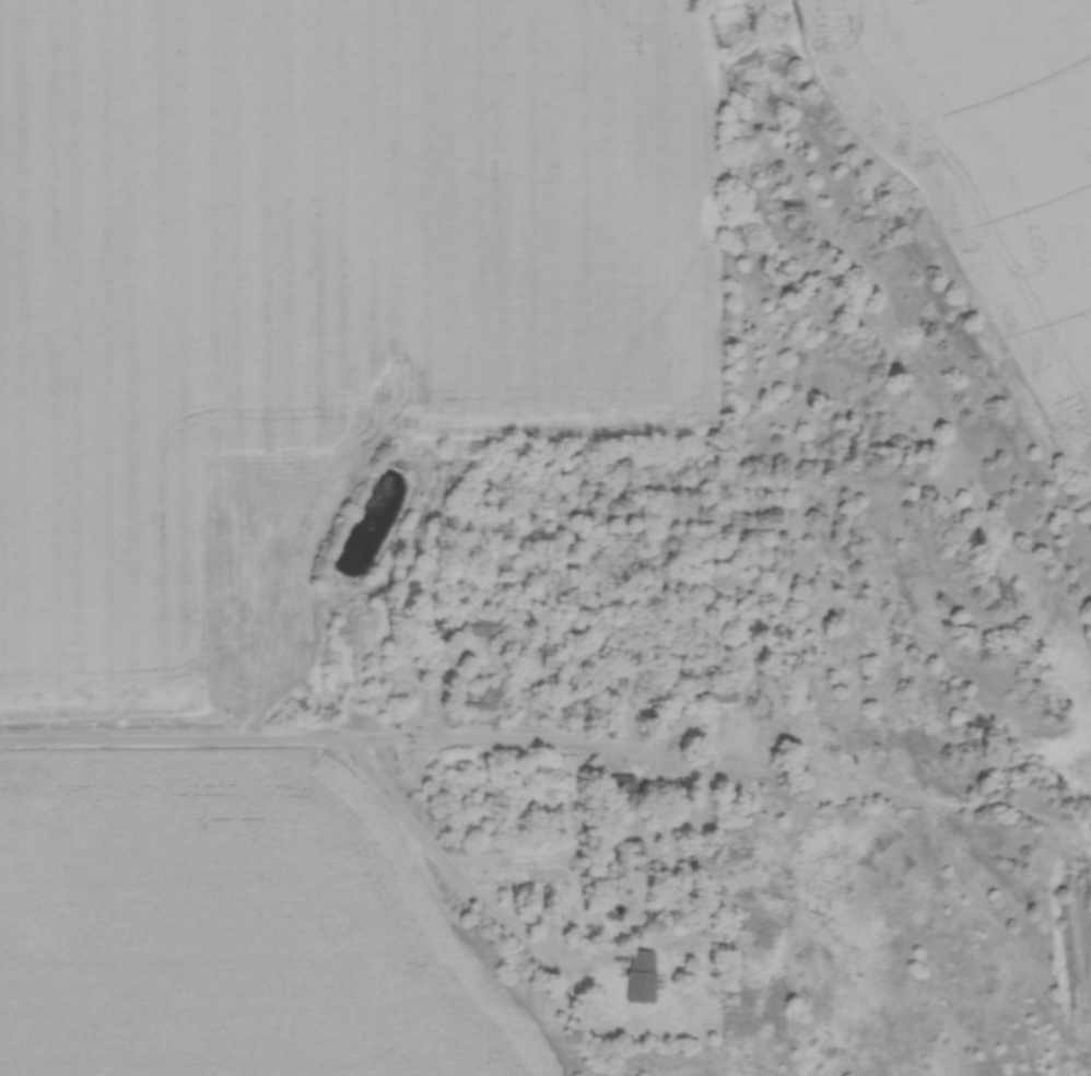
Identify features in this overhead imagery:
building: (547, 663)
building: (482, 700)
road: (338, 741)
building: (617, 793)
road: (456, 876)
building: (636, 979)

